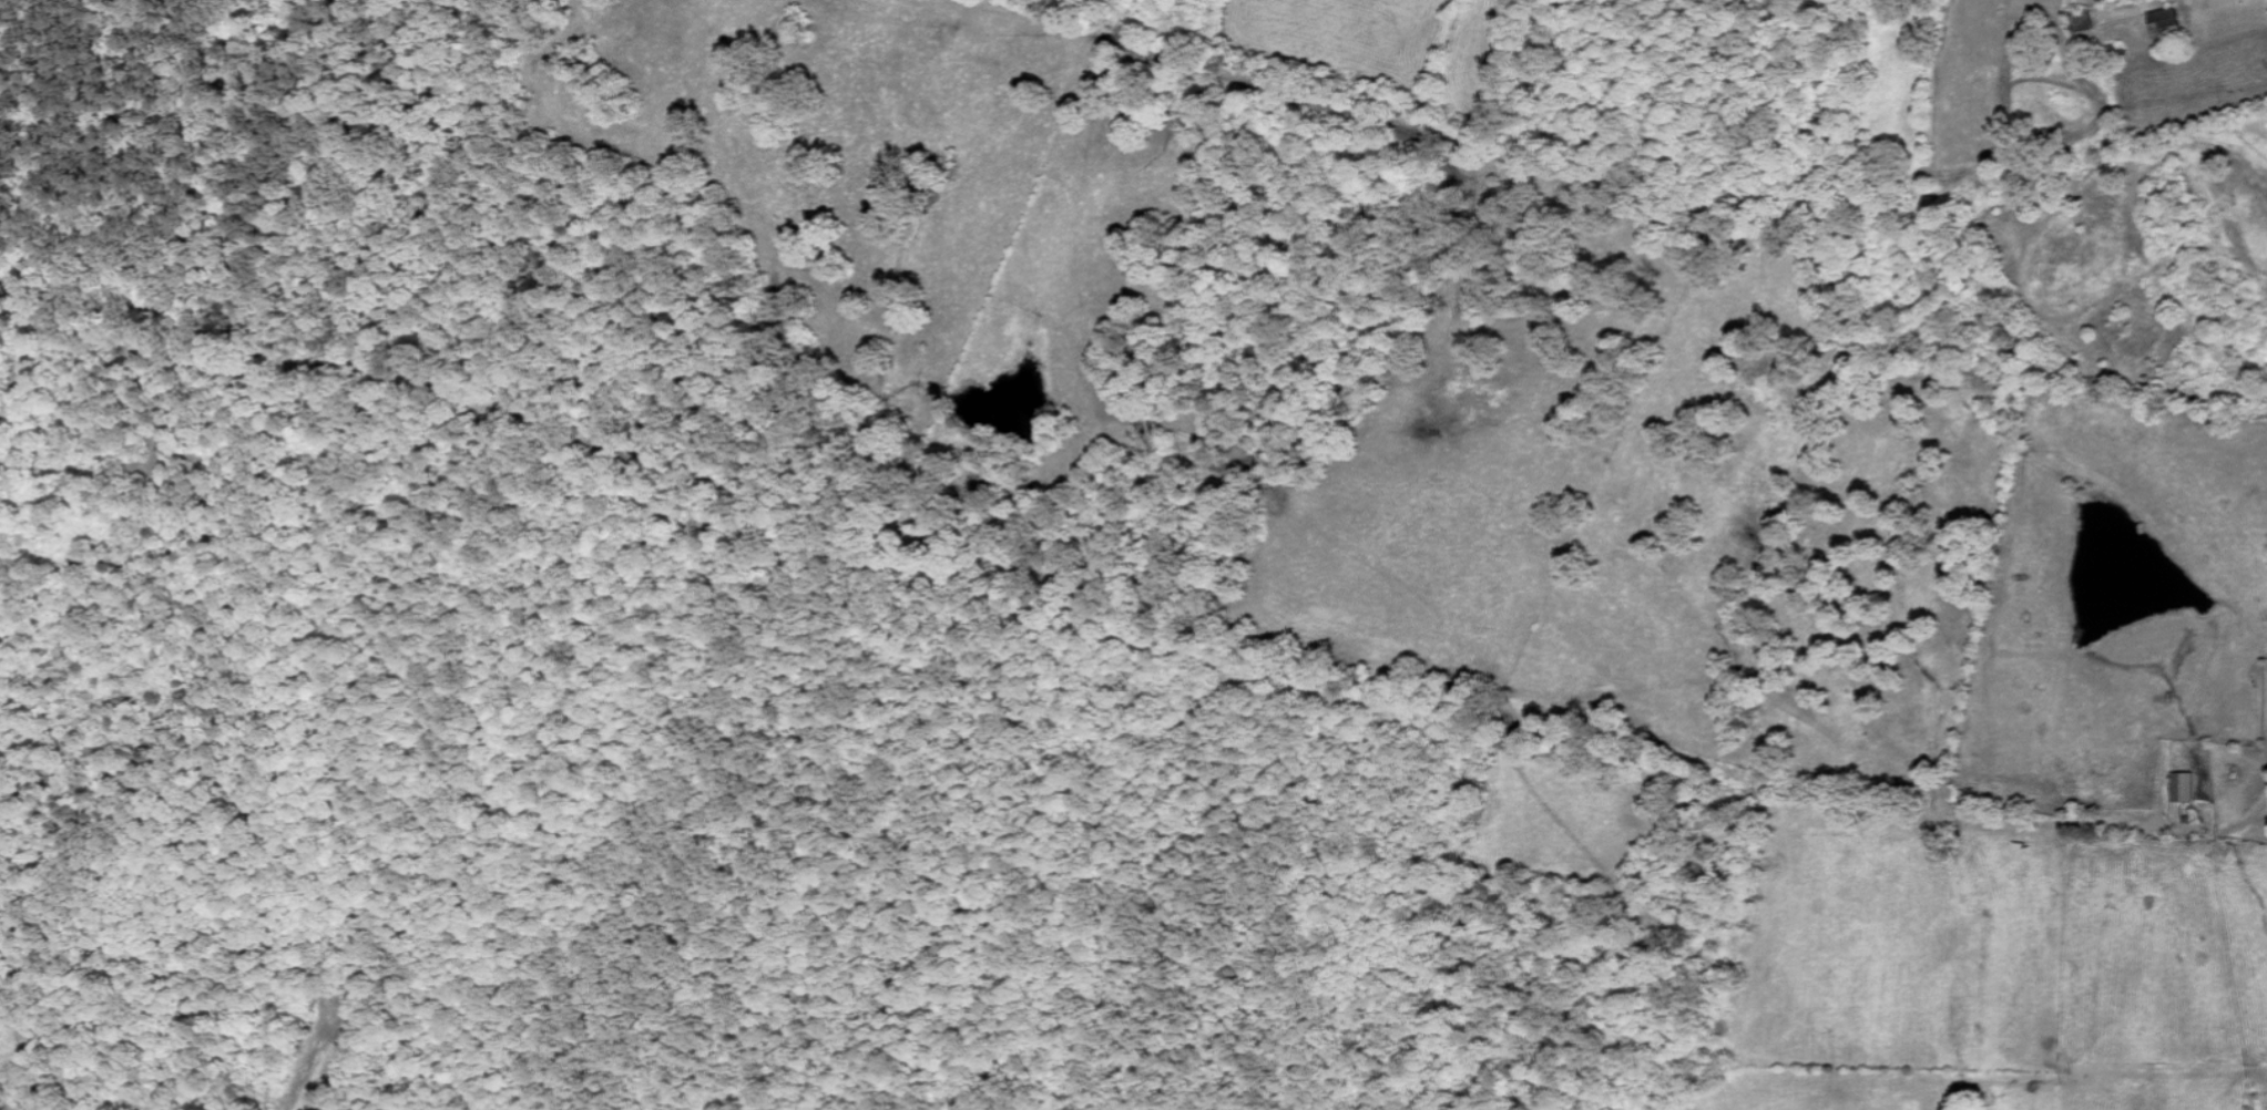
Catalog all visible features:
building: (2172, 23)
building: (2185, 785)

